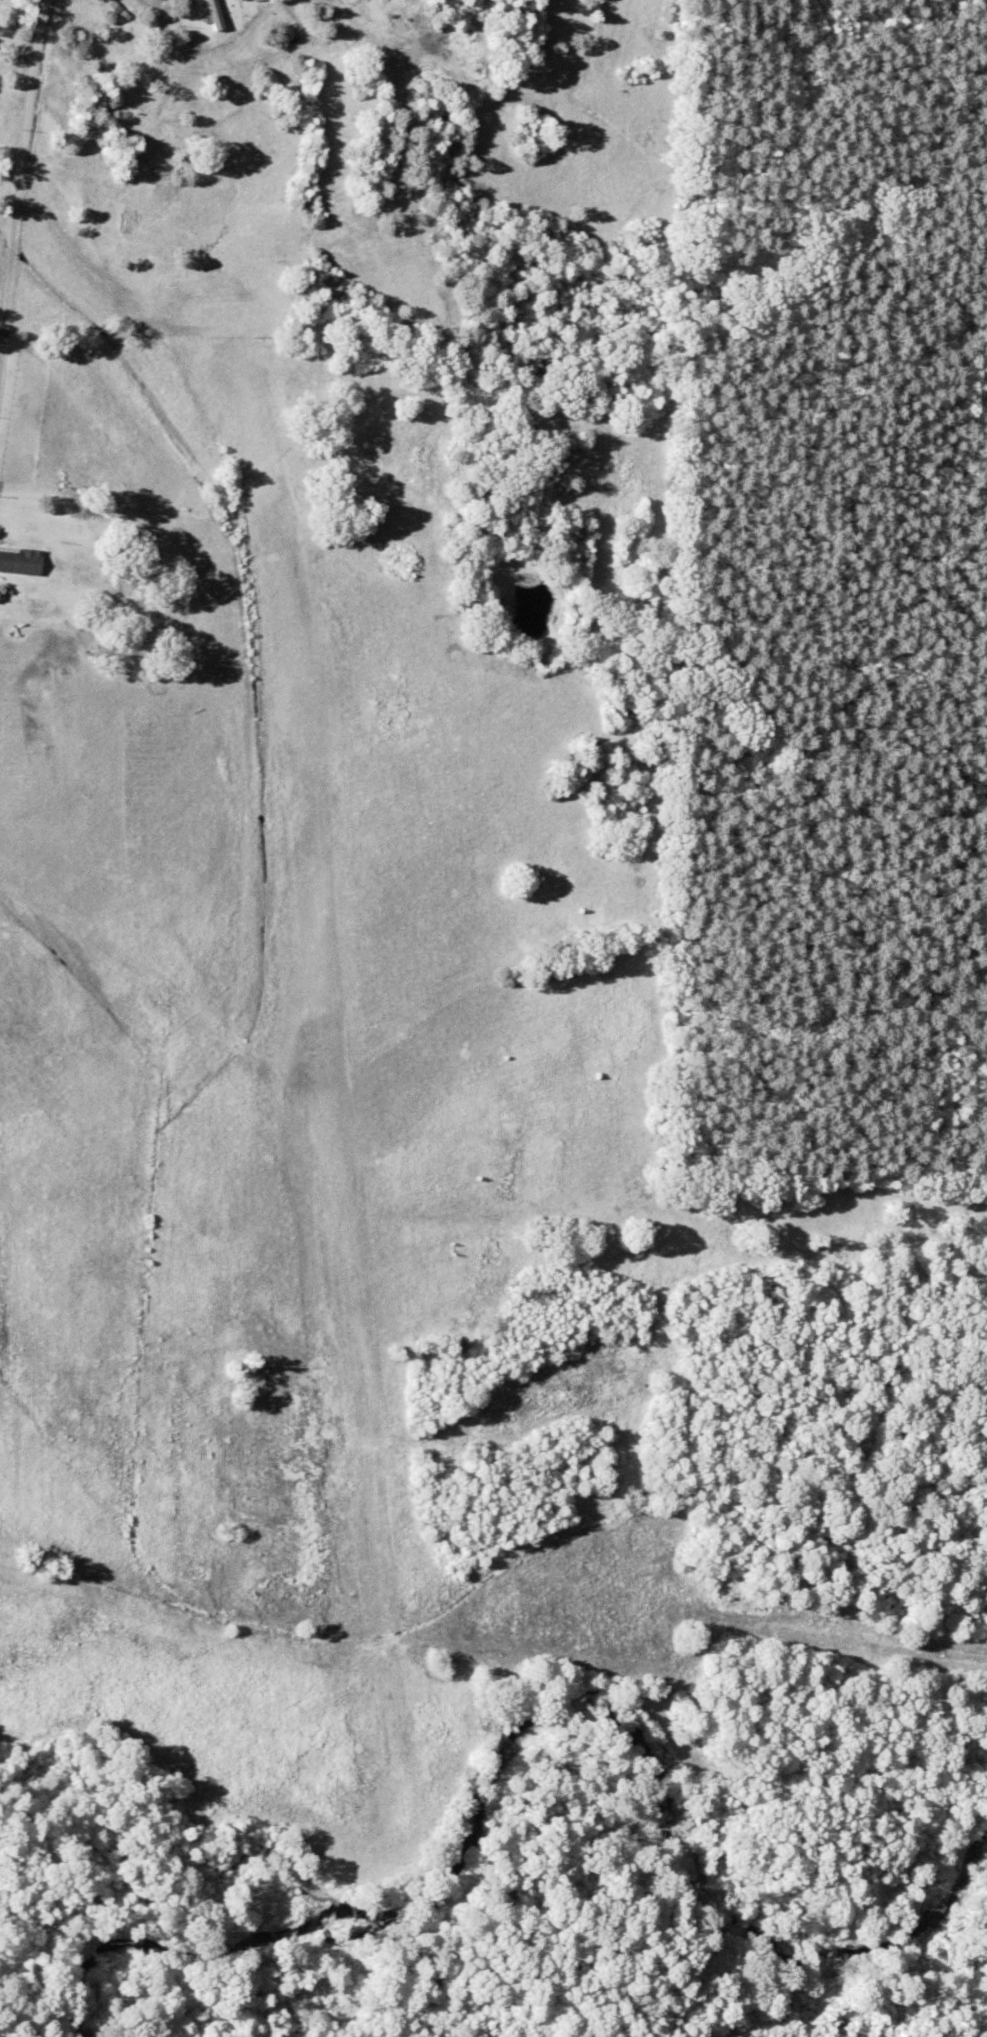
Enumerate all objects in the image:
building: (213, 9)
road: (36, 215)
building: (21, 560)
airport runway: (343, 1116)

